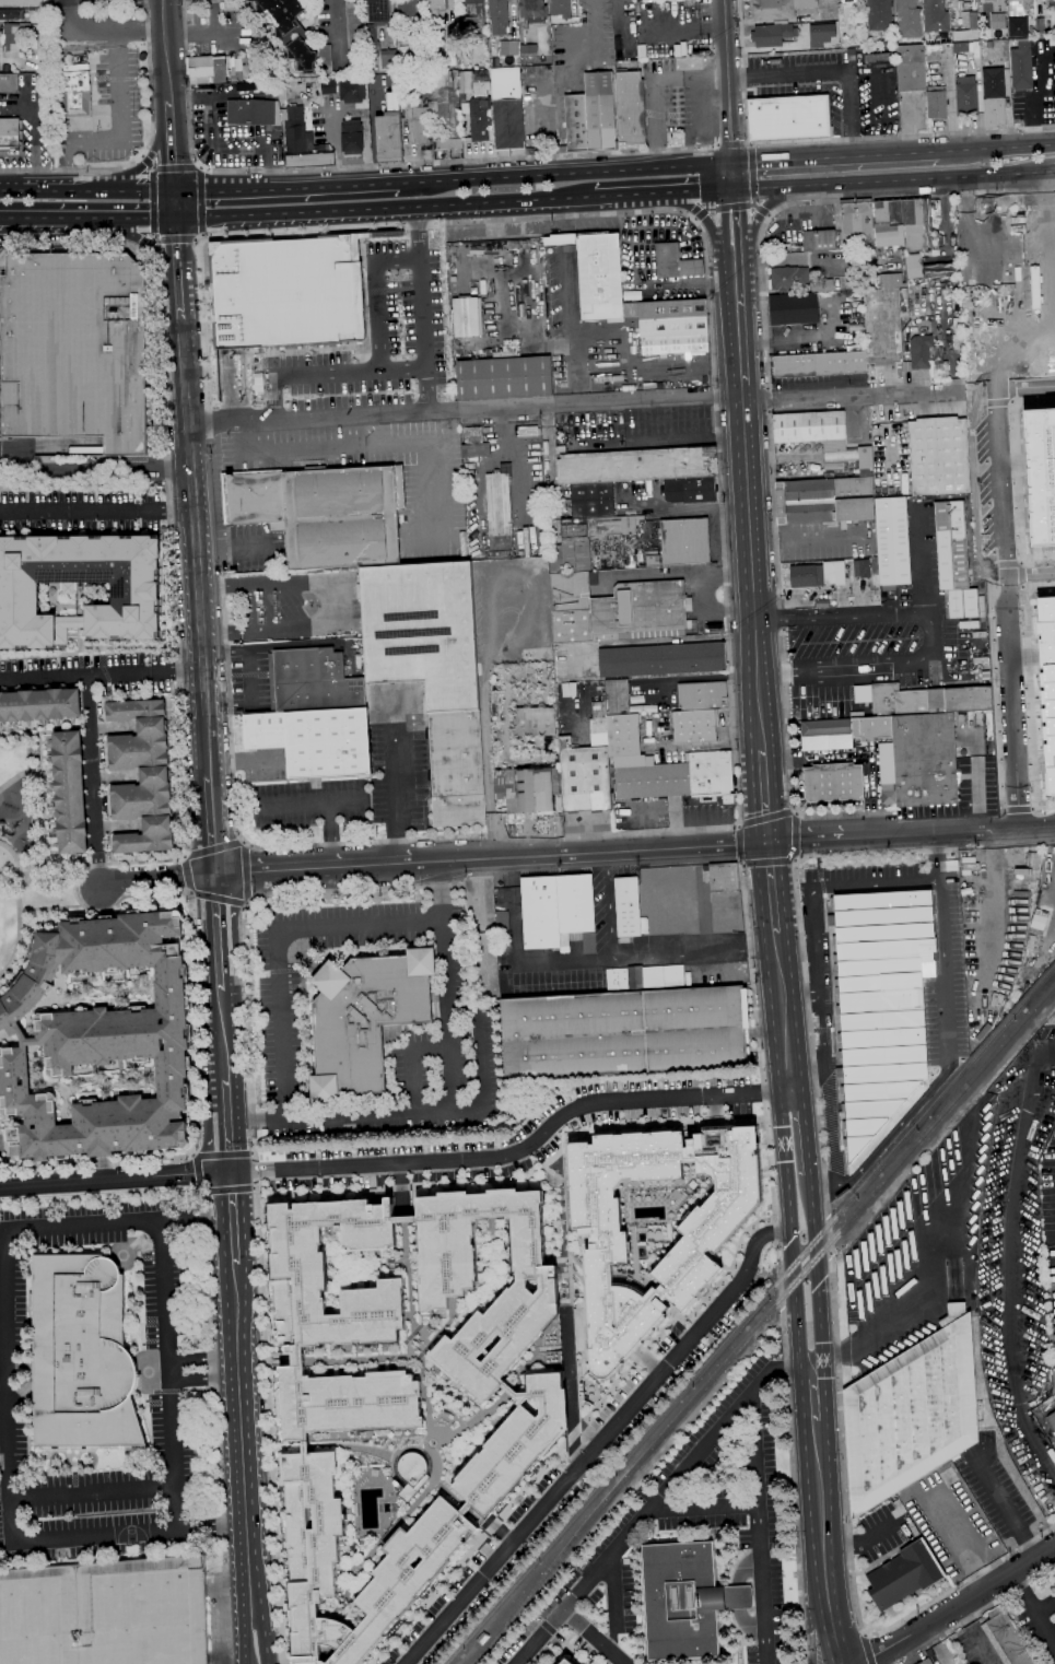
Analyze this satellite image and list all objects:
building: (847, 1)
building: (965, 1)
building: (989, 1)
building: (406, 8)
building: (560, 8)
road: (618, 9)
building: (497, 10)
building: (532, 10)
building: (773, 10)
building: (378, 11)
building: (435, 11)
building: (1011, 12)
building: (5, 14)
building: (879, 15)
building: (477, 16)
building: (935, 16)
building: (909, 19)
building: (998, 21)
building: (1018, 26)
building: (968, 27)
road: (104, 28)
building: (289, 28)
building: (821, 32)
building: (16, 35)
road: (335, 35)
building: (772, 35)
building: (354, 36)
building: (392, 38)
building: (372, 47)
building: (508, 48)
road: (166, 50)
building: (325, 57)
building: (388, 59)
building: (875, 59)
building: (437, 66)
building: (253, 67)
building: (1021, 67)
building: (911, 68)
road: (59, 69)
building: (207, 69)
road: (825, 71)
road: (726, 80)
building: (9, 83)
road: (658, 84)
building: (328, 85)
building: (75, 91)
building: (352, 92)
building: (966, 96)
building: (994, 97)
building: (936, 103)
building: (630, 107)
building: (507, 108)
building: (444, 109)
building: (251, 113)
road: (169, 114)
building: (590, 116)
building: (415, 118)
building: (788, 119)
building: (480, 124)
building: (390, 132)
building: (9, 133)
road: (119, 133)
building: (352, 137)
building: (303, 142)
road: (828, 142)
road: (730, 143)
road: (1009, 148)
road: (144, 149)
road: (949, 151)
road: (141, 156)
road: (832, 156)
road: (171, 157)
road: (145, 162)
road: (146, 162)
traffic signals: (730, 162)
road: (412, 164)
road: (197, 166)
road: (174, 167)
road: (200, 168)
road: (585, 169)
road: (1054, 171)
road: (730, 176)
road: (924, 178)
road: (419, 180)
road: (285, 185)
road: (55, 187)
road: (142, 188)
traffic signals: (174, 188)
road: (762, 188)
traffic signals: (731, 190)
road: (657, 195)
road: (753, 199)
road: (200, 202)
road: (153, 203)
road: (176, 204)
road: (382, 210)
road: (760, 210)
road: (701, 215)
road: (55, 219)
road: (705, 219)
road: (143, 220)
traffic signals: (178, 221)
road: (752, 222)
building: (856, 222)
building: (901, 224)
road: (413, 225)
road: (734, 232)
road: (201, 235)
road: (174, 239)
building: (819, 241)
road: (196, 242)
road: (148, 244)
road: (149, 246)
road: (141, 250)
road: (177, 253)
building: (856, 255)
road: (782, 259)
building: (675, 262)
building: (927, 268)
building: (599, 272)
building: (789, 279)
building: (876, 281)
road: (1052, 289)
building: (286, 292)
road: (377, 294)
road: (179, 303)
road: (0, 306)
building: (794, 309)
road: (419, 310)
building: (467, 317)
building: (882, 318)
road: (738, 330)
building: (73, 348)
building: (921, 351)
road: (326, 372)
building: (504, 378)
road: (1027, 389)
road: (0, 392)
road: (849, 395)
road: (990, 400)
road: (464, 411)
road: (770, 418)
building: (809, 426)
building: (528, 431)
building: (474, 444)
road: (152, 445)
road: (55, 446)
road: (427, 450)
building: (938, 455)
building: (849, 459)
road: (518, 462)
building: (636, 465)
road: (92, 471)
building: (1040, 472)
road: (1015, 473)
building: (690, 490)
building: (591, 500)
building: (499, 508)
road: (96, 509)
building: (323, 512)
building: (852, 517)
building: (585, 540)
building: (684, 541)
road: (195, 548)
building: (652, 556)
road: (925, 559)
building: (954, 560)
road: (1005, 560)
road: (752, 567)
building: (861, 569)
road: (1030, 572)
road: (1021, 573)
building: (807, 576)
building: (868, 585)
building: (136, 591)
road: (992, 596)
road: (1022, 600)
road: (329, 601)
building: (616, 609)
road: (1007, 610)
road: (842, 616)
road: (1024, 654)
road: (1025, 656)
building: (661, 659)
road: (867, 663)
road: (175, 671)
building: (432, 671)
road: (73, 675)
building: (312, 681)
building: (1047, 684)
building: (703, 695)
building: (617, 698)
building: (927, 700)
building: (39, 704)
building: (532, 720)
building: (695, 726)
road: (1030, 735)
building: (314, 740)
building: (625, 740)
road: (858, 753)
building: (907, 753)
road: (91, 763)
building: (587, 767)
road: (19, 773)
building: (711, 775)
building: (141, 776)
building: (652, 781)
building: (833, 782)
road: (42, 785)
building: (535, 789)
building: (70, 792)
road: (400, 797)
road: (765, 797)
road: (978, 797)
road: (297, 802)
road: (1044, 802)
road: (1017, 805)
road: (766, 816)
road: (331, 818)
road: (210, 825)
road: (187, 832)
road: (949, 833)
road: (796, 835)
road: (244, 842)
road: (806, 842)
road: (739, 844)
traffic signals: (769, 845)
park: (26, 848)
road: (595, 854)
road: (936, 857)
road: (769, 862)
road: (96, 869)
road: (317, 869)
road: (187, 871)
road: (245, 871)
building: (724, 877)
road: (155, 878)
road: (38, 879)
road: (772, 883)
building: (966, 891)
road: (188, 892)
road: (104, 901)
road: (246, 902)
road: (608, 906)
building: (628, 906)
road: (17, 907)
road: (798, 909)
building: (558, 912)
road: (215, 926)
building: (502, 928)
road: (777, 935)
road: (278, 948)
building: (503, 949)
road: (941, 951)
road: (694, 952)
road: (514, 960)
railway: (1042, 974)
road: (220, 984)
road: (799, 996)
building: (878, 1011)
road: (448, 1016)
building: (365, 1018)
road: (784, 1018)
building: (625, 1028)
road: (222, 1035)
building: (101, 1040)
road: (760, 1067)
road: (225, 1092)
road: (432, 1113)
road: (805, 1129)
road: (227, 1137)
road: (517, 1151)
road: (251, 1152)
road: (190, 1153)
road: (220, 1153)
road: (196, 1172)
traffic signals: (230, 1172)
road: (255, 1174)
road: (114, 1179)
road: (253, 1187)
road: (225, 1188)
road: (403, 1188)
road: (232, 1193)
road: (190, 1217)
road: (790, 1228)
road: (829, 1235)
road: (760, 1238)
road: (234, 1240)
building: (607, 1253)
road: (1006, 1258)
road: (817, 1269)
road: (929, 1273)
road: (781, 1288)
railway: (749, 1313)
railway: (760, 1322)
building: (82, 1355)
road: (9, 1358)
road: (201, 1359)
road: (777, 1366)
road: (171, 1369)
road: (203, 1380)
building: (401, 1392)
road: (812, 1392)
building: (912, 1414)
building: (465, 1421)
building: (1051, 1421)
road: (724, 1422)
road: (216, 1426)
road: (241, 1436)
road: (577, 1466)
building: (412, 1474)
road: (792, 1486)
building: (718, 1493)
road: (999, 1501)
road: (174, 1505)
road: (705, 1505)
road: (819, 1517)
road: (499, 1531)
road: (104, 1535)
road: (954, 1540)
road: (859, 1543)
road: (851, 1556)
building: (904, 1574)
building: (685, 1599)
road: (958, 1604)
road: (810, 1605)
road: (614, 1606)
building: (105, 1613)
road: (976, 1615)
road: (1041, 1619)
road: (265, 1633)
road: (864, 1633)
road: (245, 1634)
road: (594, 1637)
building: (480, 1638)
road: (834, 1639)
building: (1006, 1639)
road: (568, 1643)
road: (249, 1649)
road: (866, 1650)
building: (567, 1662)
building: (926, 1662)

